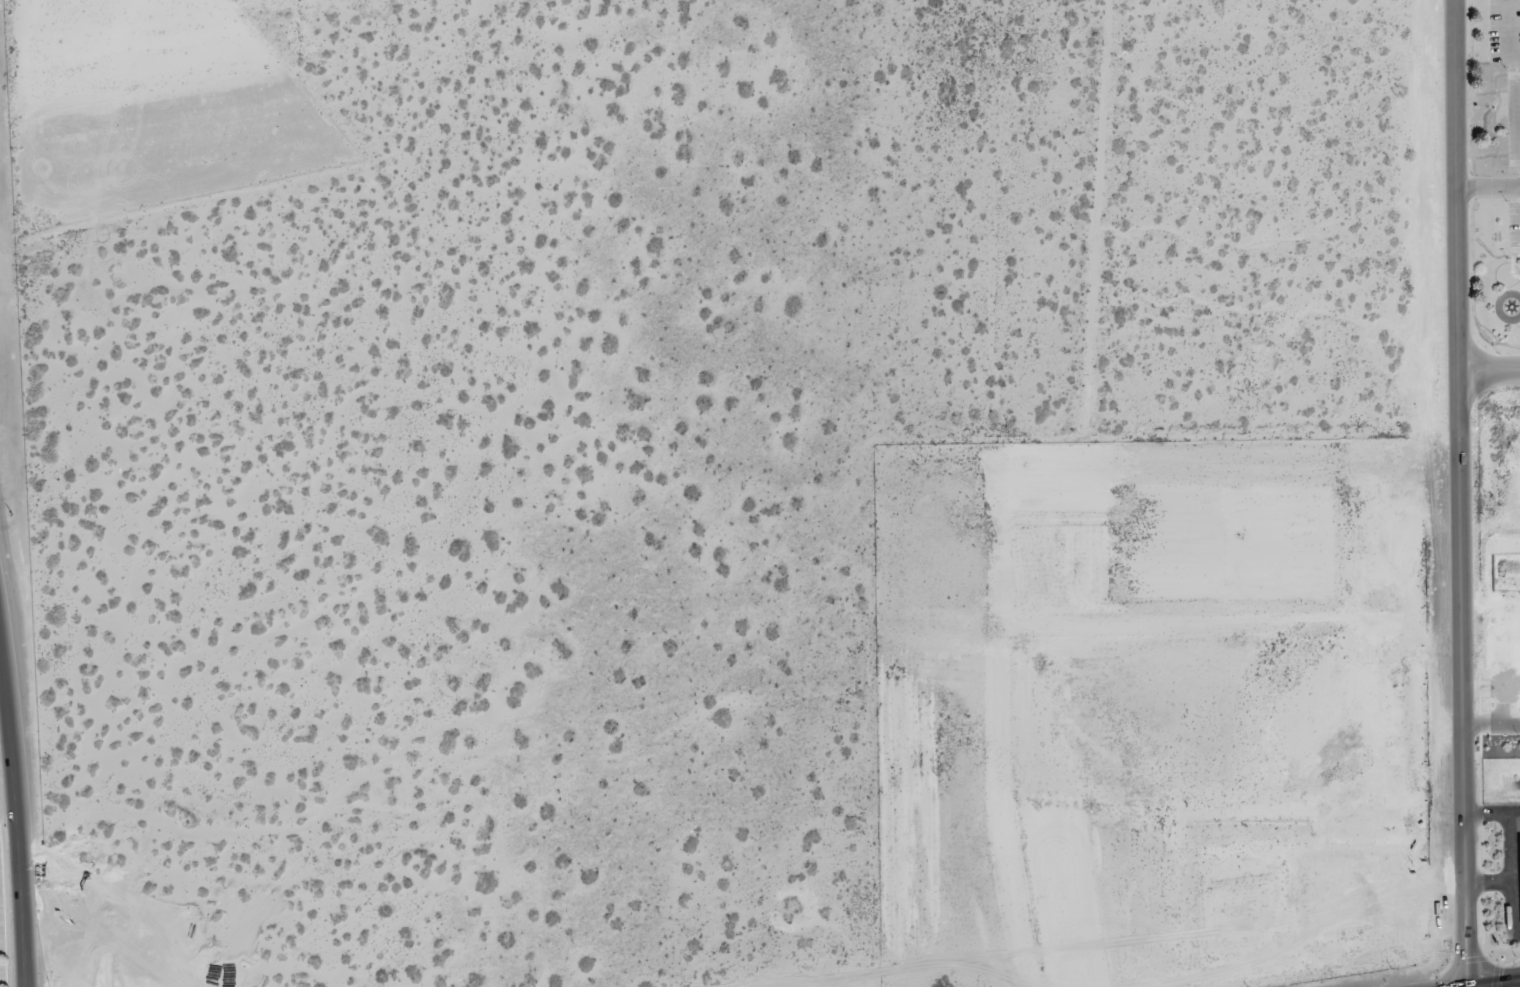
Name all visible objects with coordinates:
road: (1489, 187)
road: (1490, 371)
road: (1462, 493)
road: (1492, 728)
road: (20, 791)
road: (1512, 816)
road: (1511, 852)
road: (1511, 909)
traffic signals: (1466, 952)
road: (1502, 984)
traffic signals: (1503, 984)

